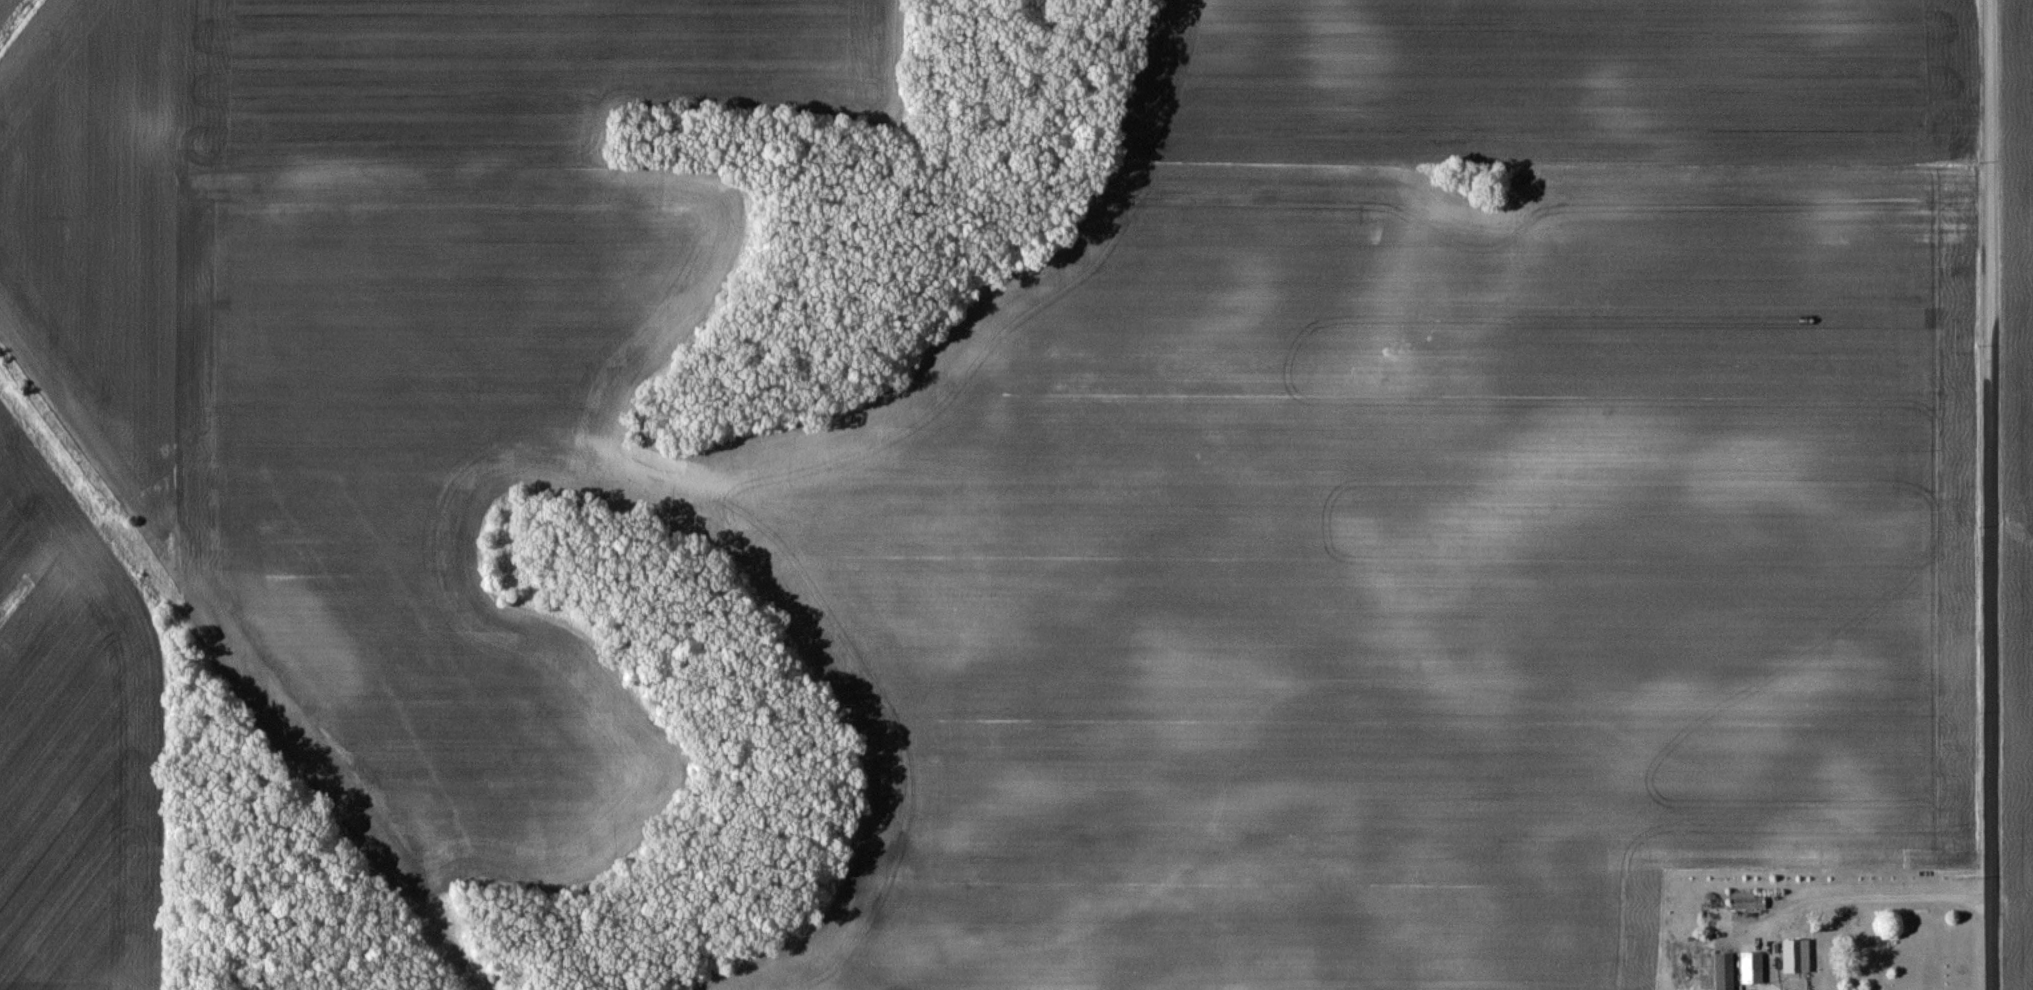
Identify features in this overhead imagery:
road: (1994, 494)
road: (1856, 896)
building: (1738, 904)
building: (1791, 955)
building: (1746, 967)
building: (1719, 971)

